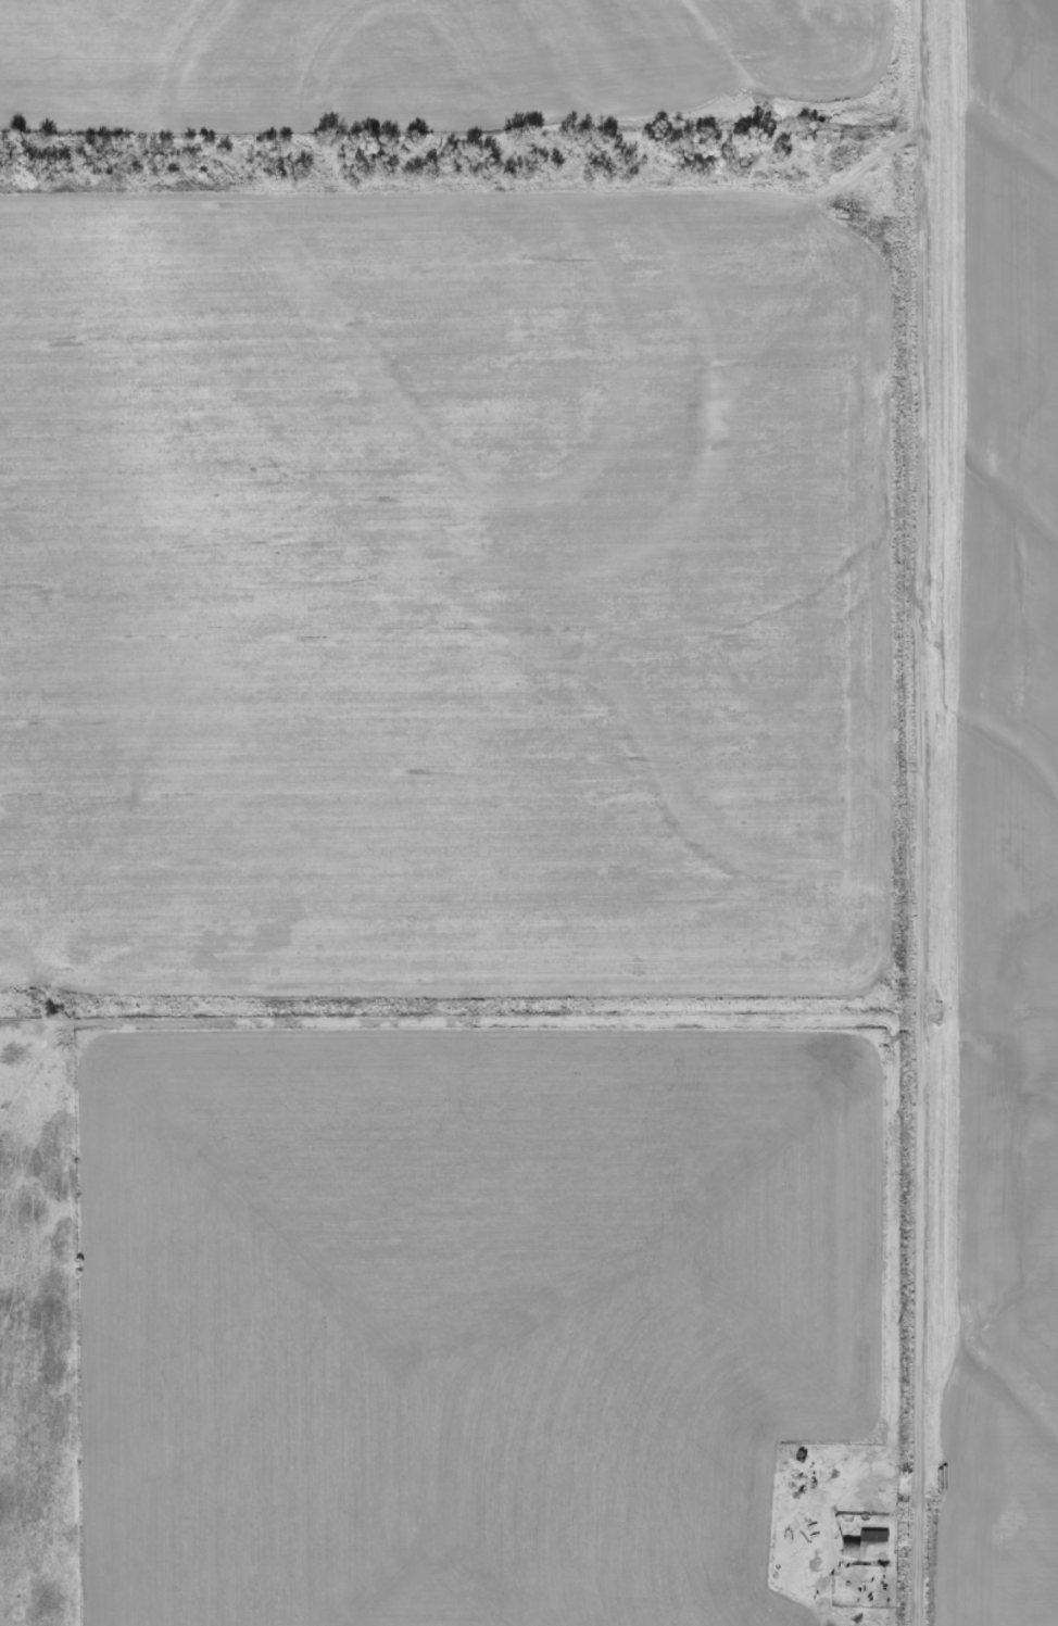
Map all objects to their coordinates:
road: (871, 812)
building: (848, 1550)

